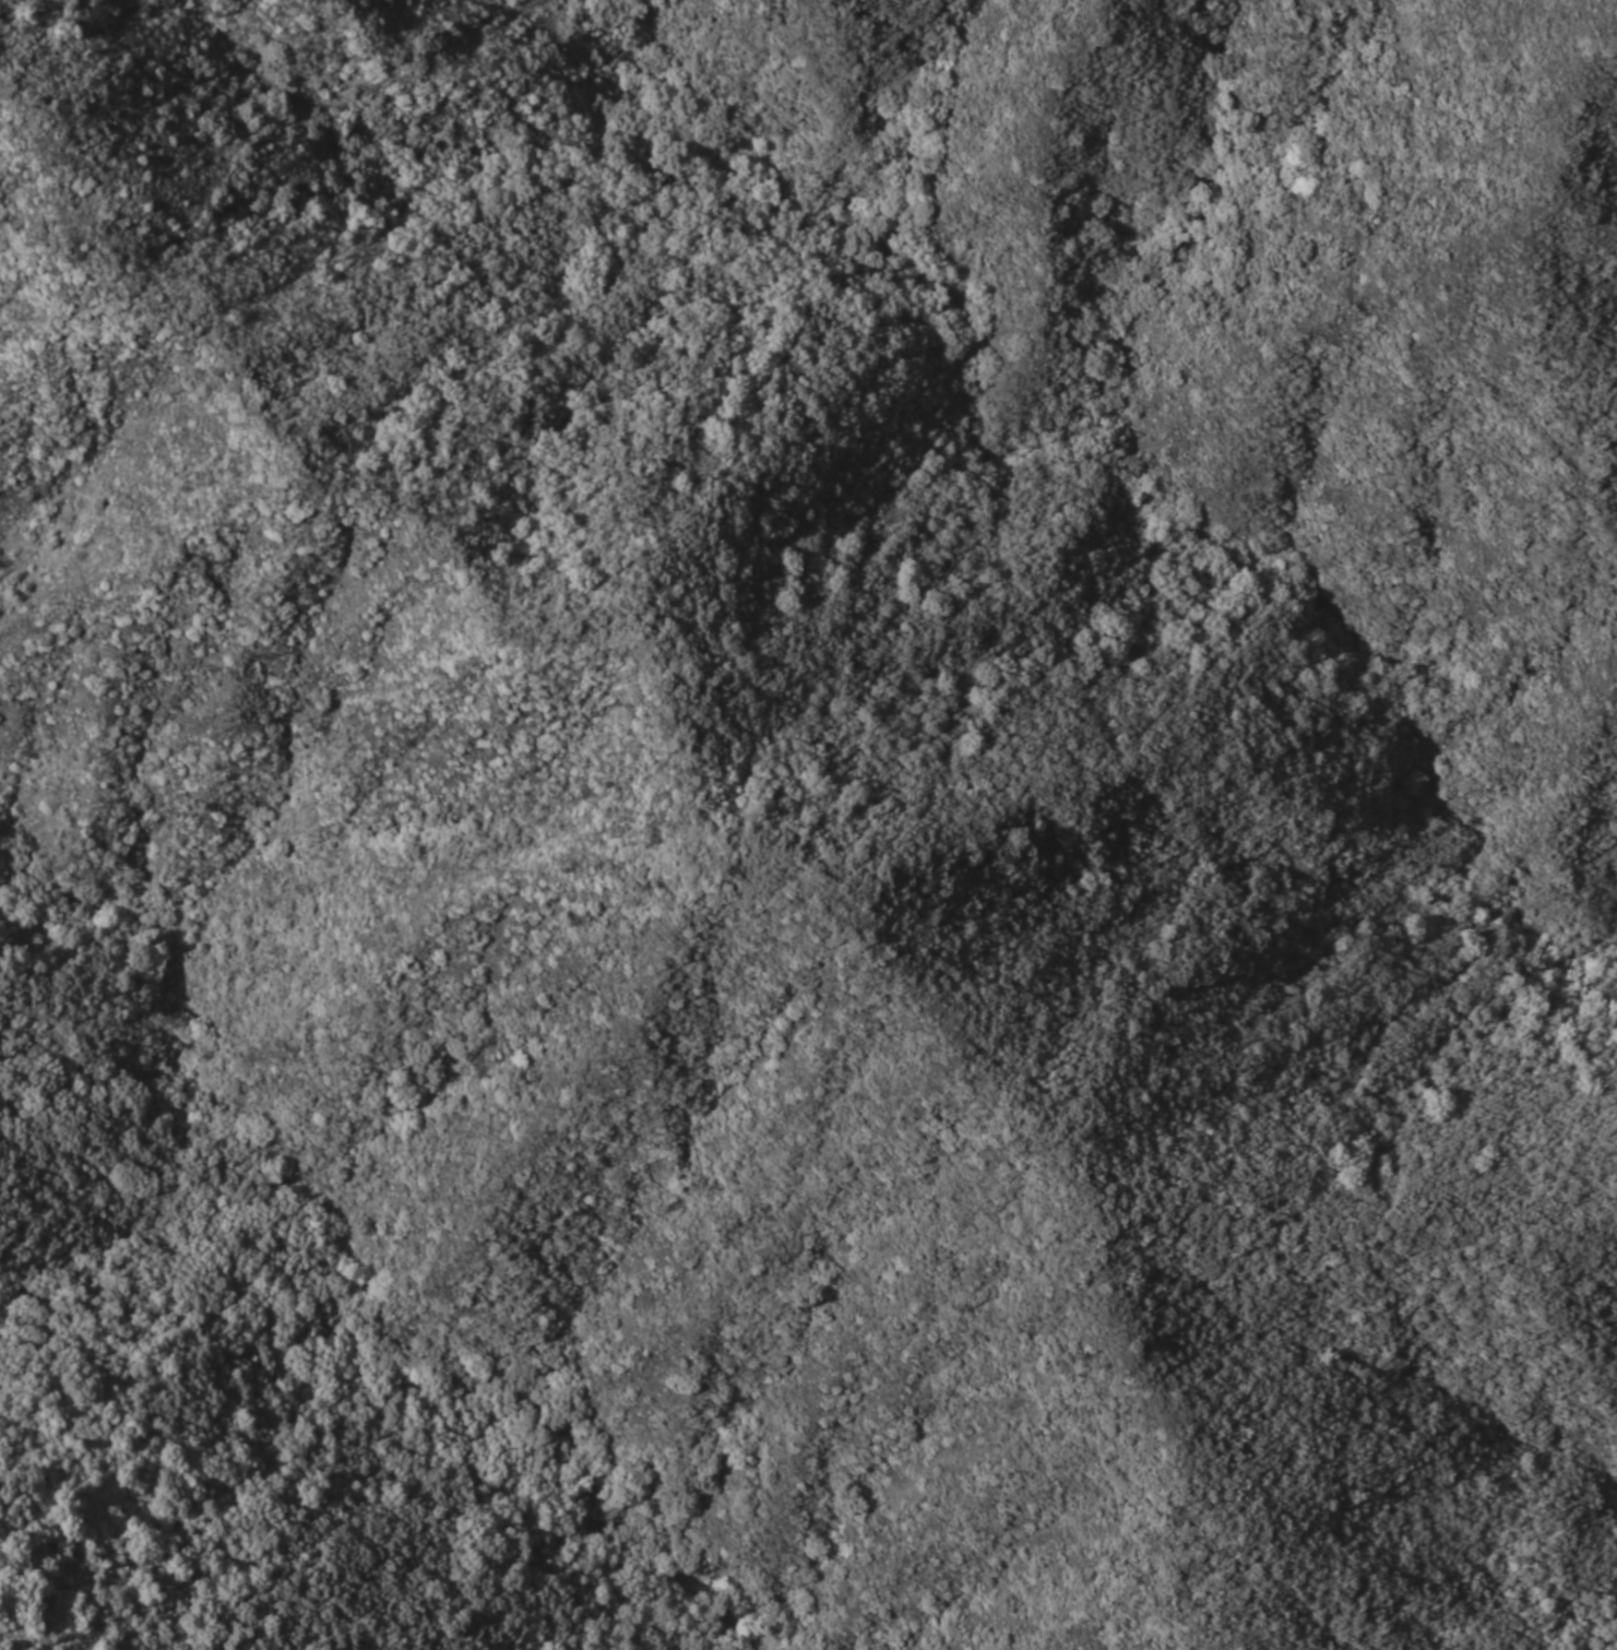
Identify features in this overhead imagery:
road: (1198, 54)
road: (1429, 223)

